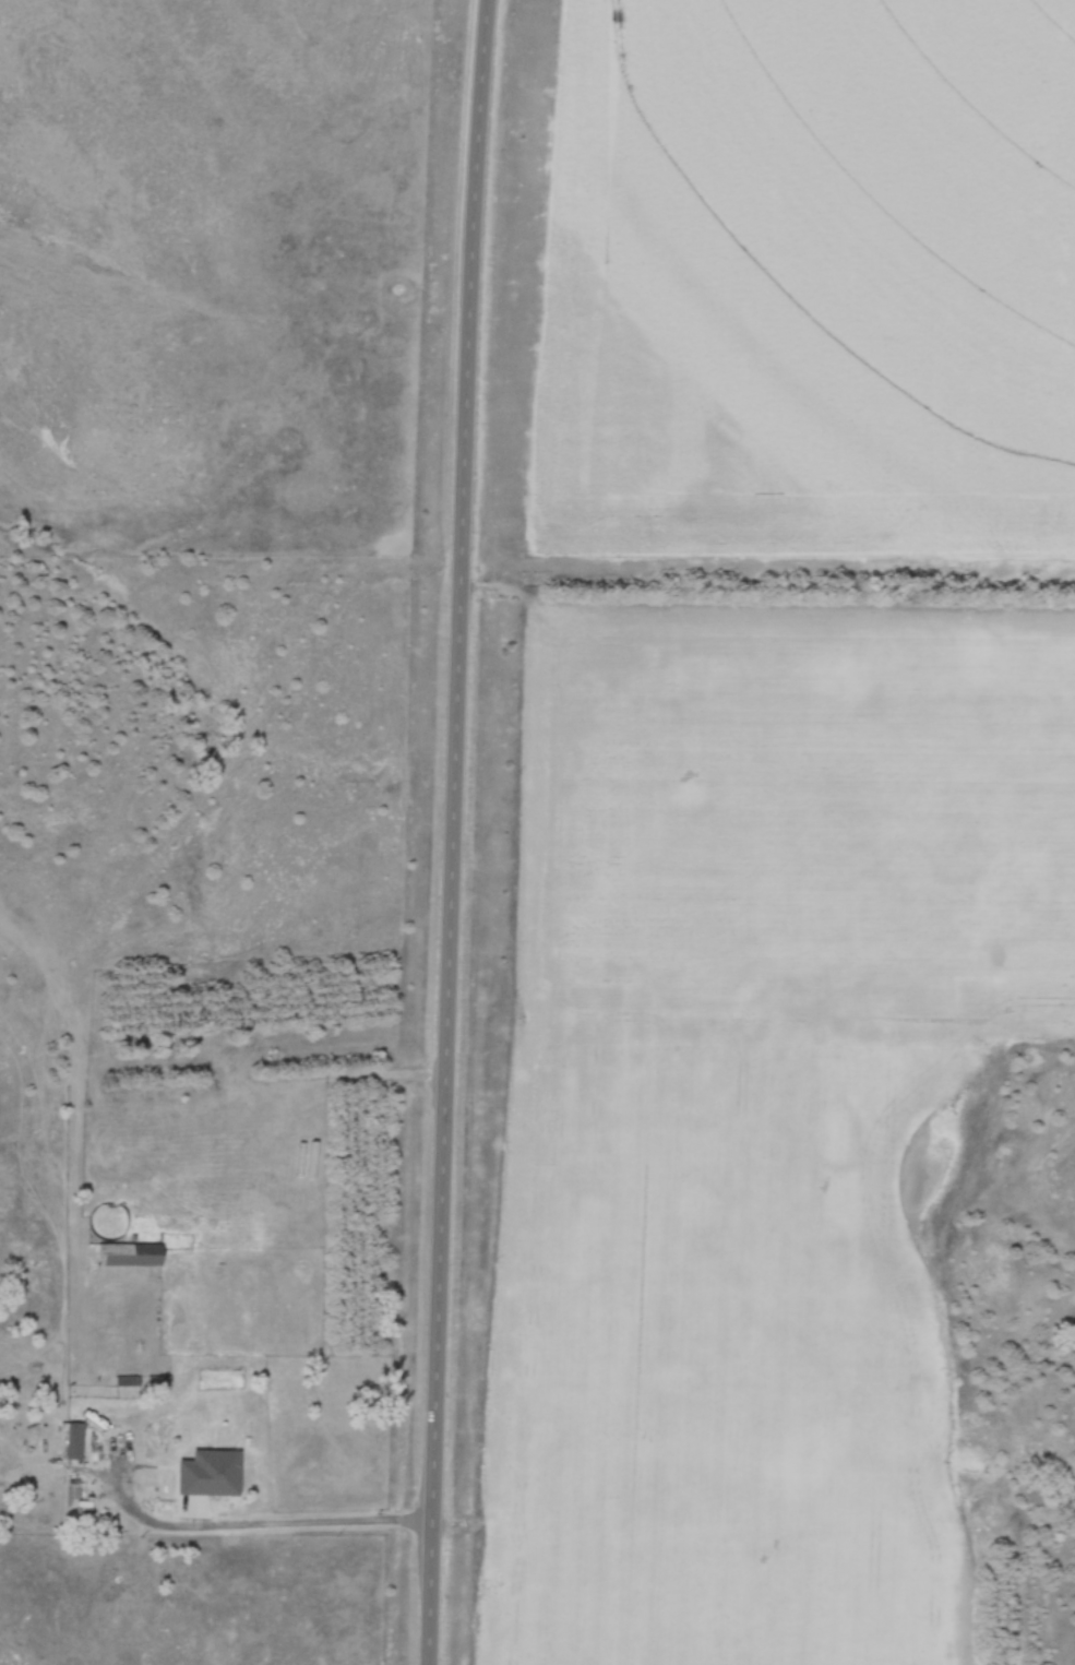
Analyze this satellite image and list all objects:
road: (458, 832)
crop: (764, 1118)
building: (140, 1259)
building: (74, 1442)
building: (223, 1471)
road: (262, 1521)

